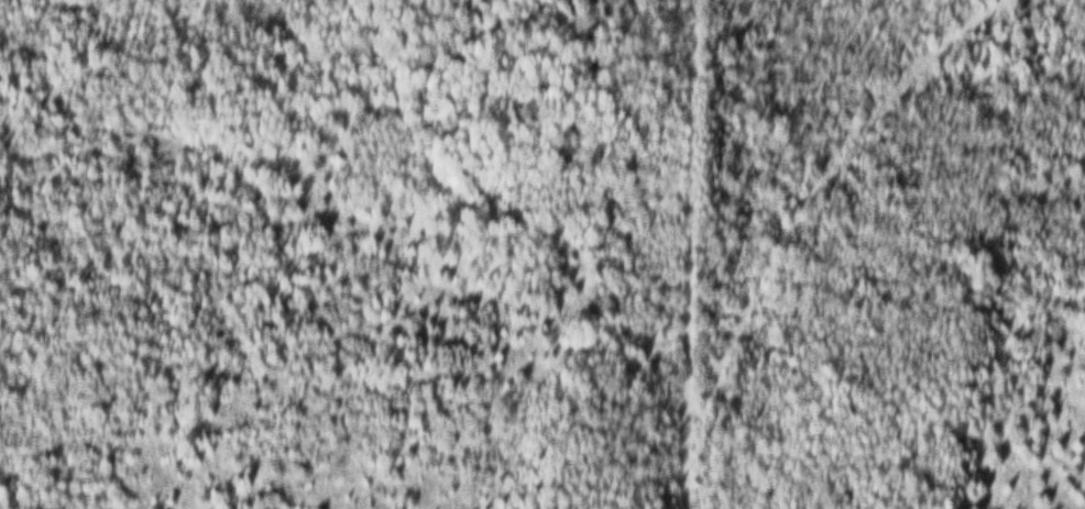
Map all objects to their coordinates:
road: (690, 254)

